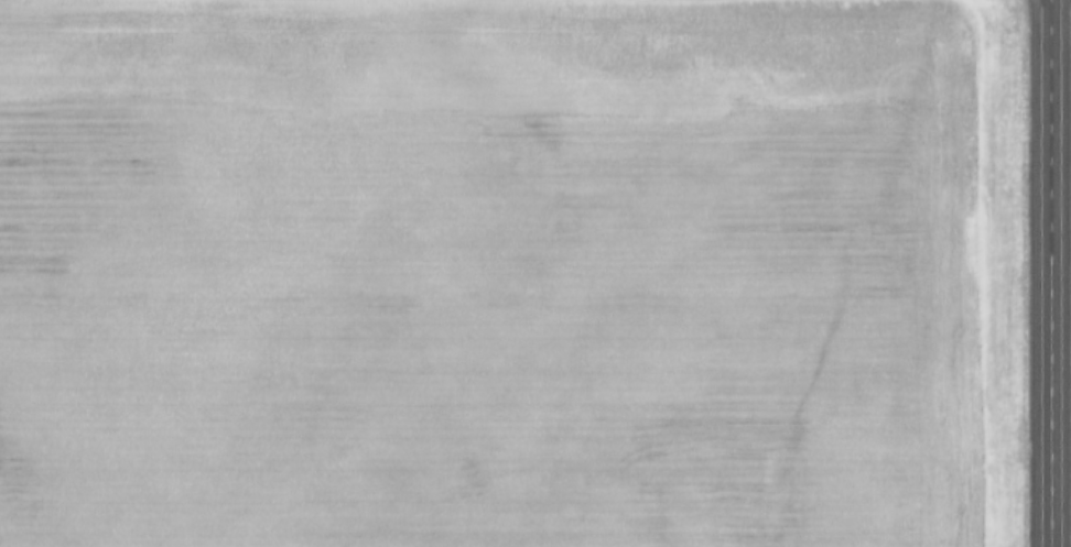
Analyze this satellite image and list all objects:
road: (1063, 273)

